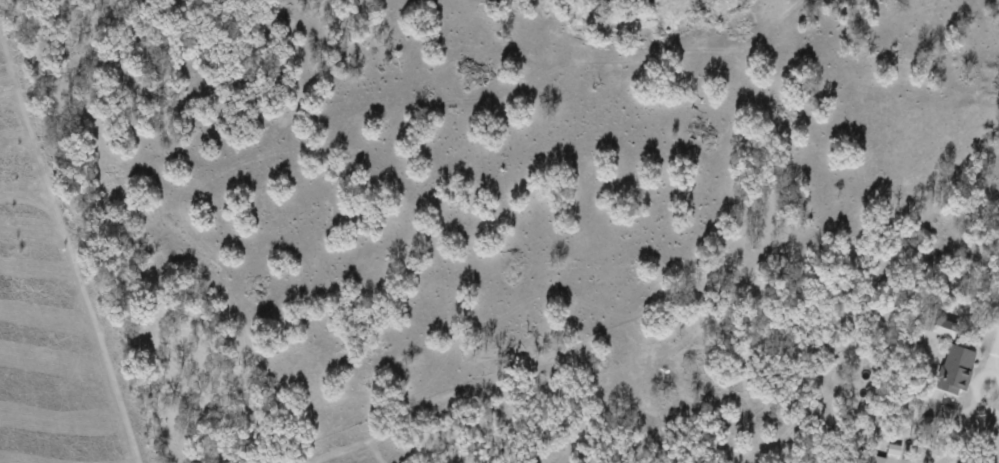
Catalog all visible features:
road: (977, 299)
building: (945, 327)
road: (993, 351)
building: (956, 368)
road: (974, 388)

